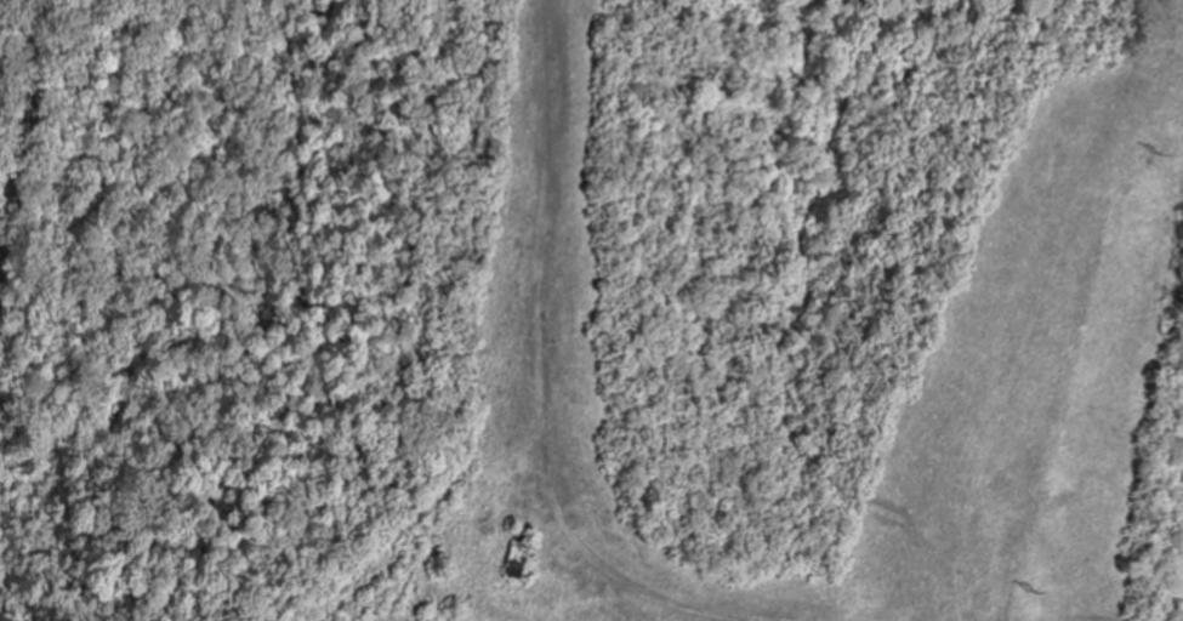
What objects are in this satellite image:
railway: (29, 129)

